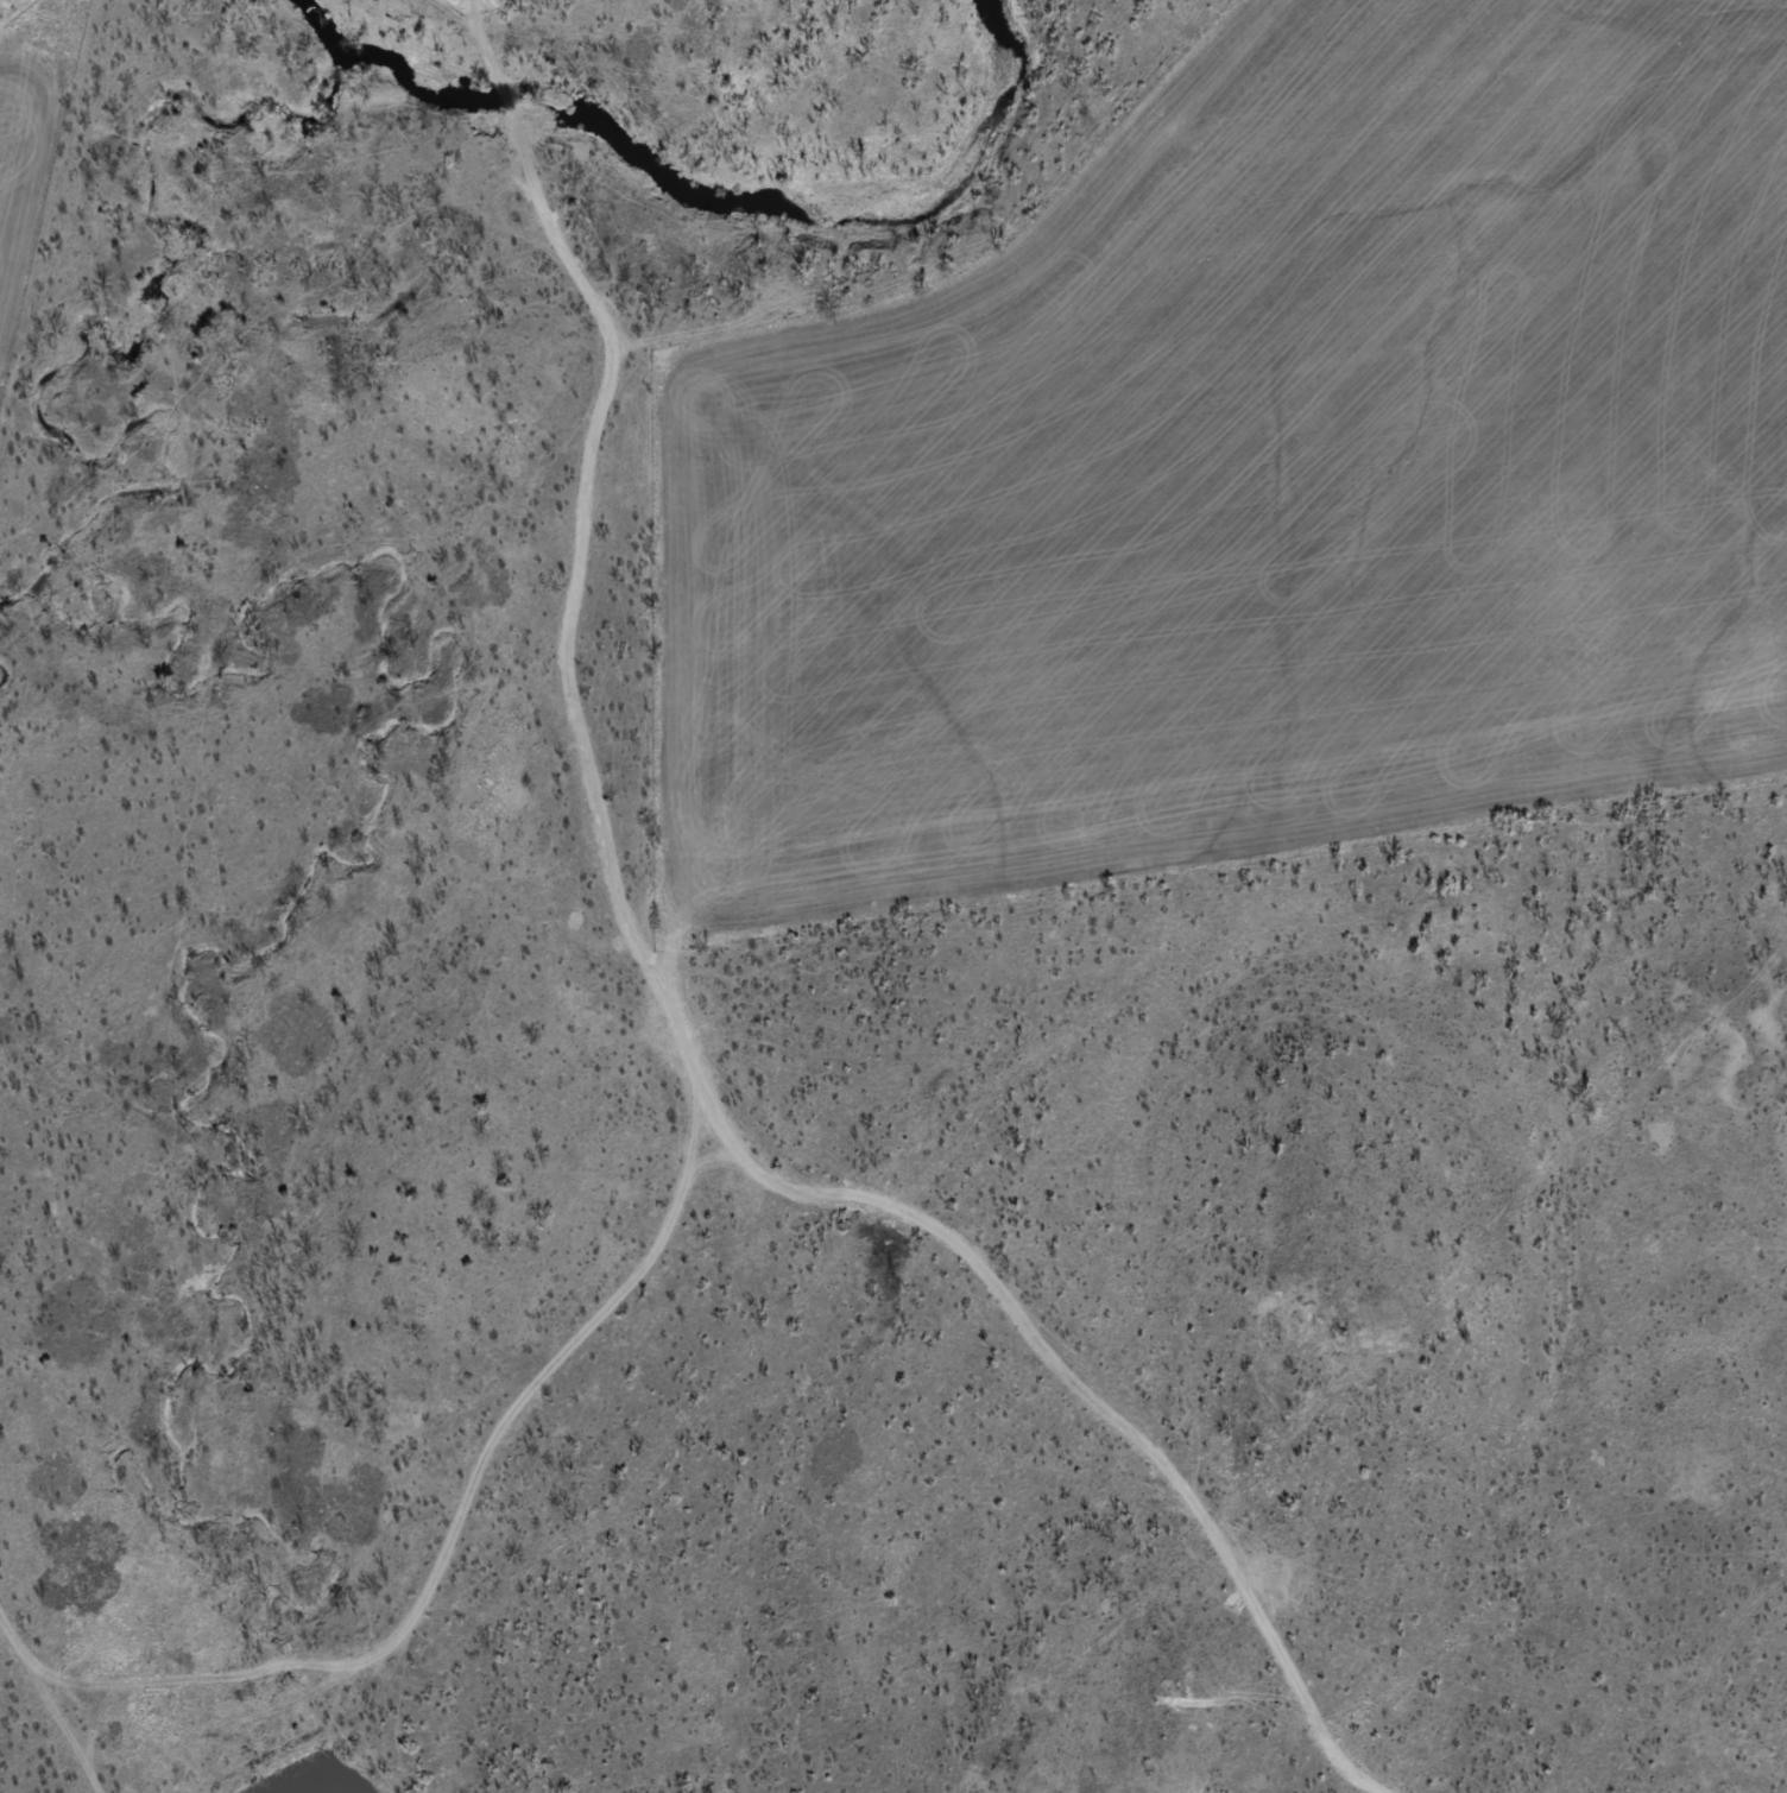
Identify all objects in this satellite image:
road: (667, 1033)
road: (453, 1483)
road: (63, 1711)

